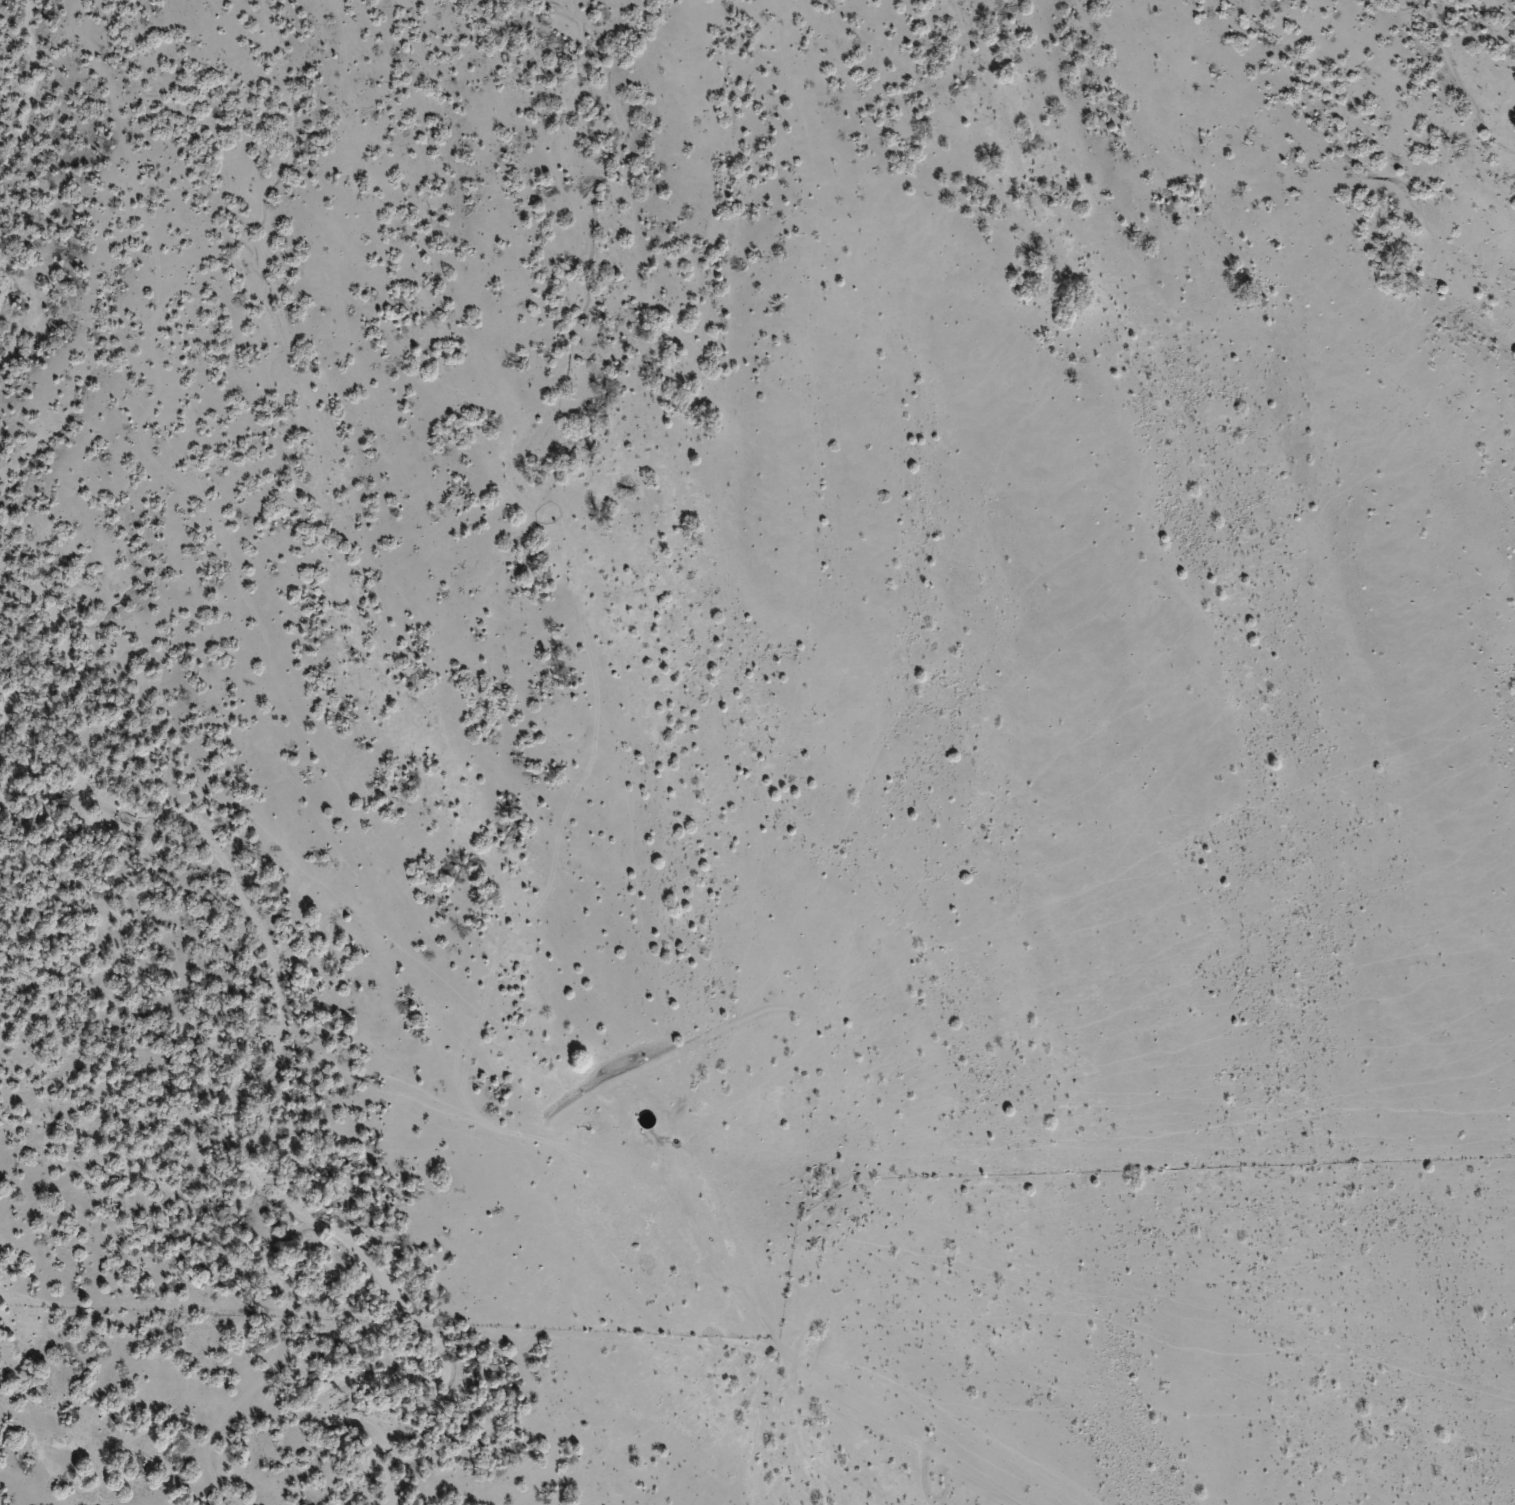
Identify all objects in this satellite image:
road: (465, 821)
road: (378, 1280)

